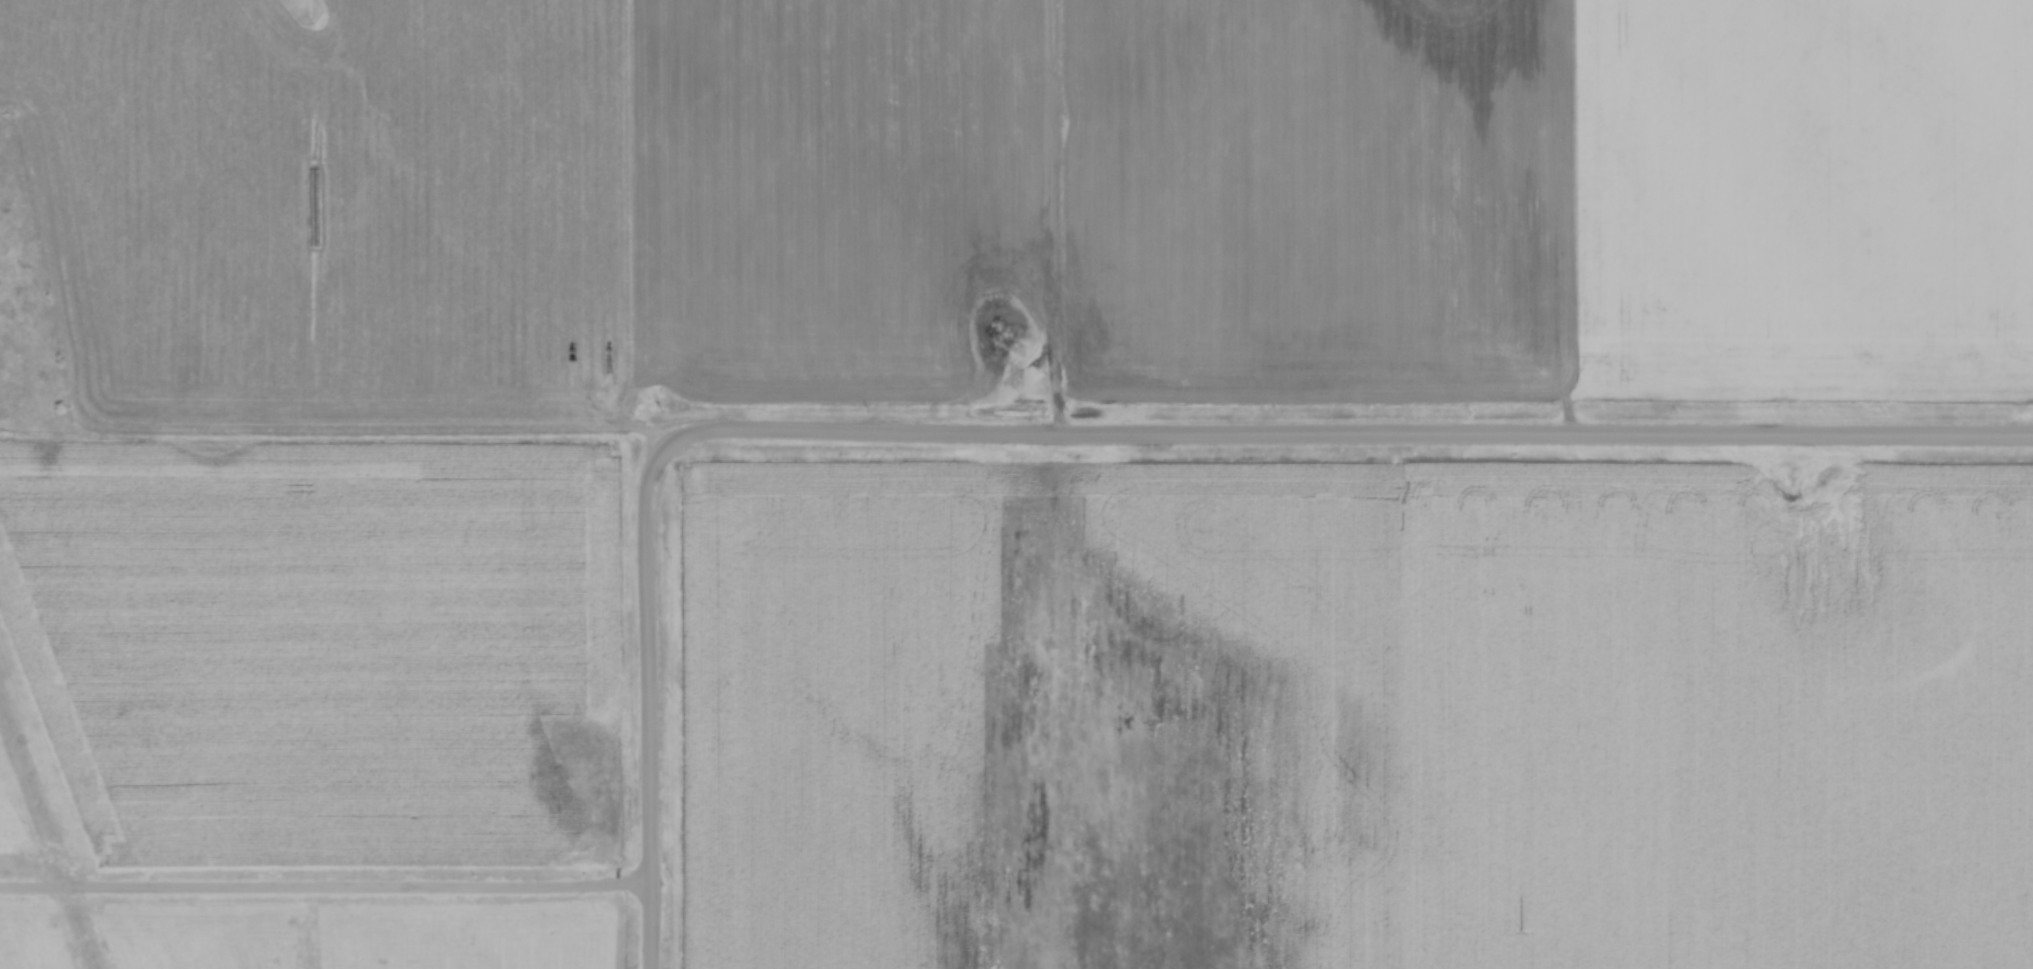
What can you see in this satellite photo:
road: (1350, 438)
road: (646, 703)
airport runway: (48, 840)
road: (324, 893)

